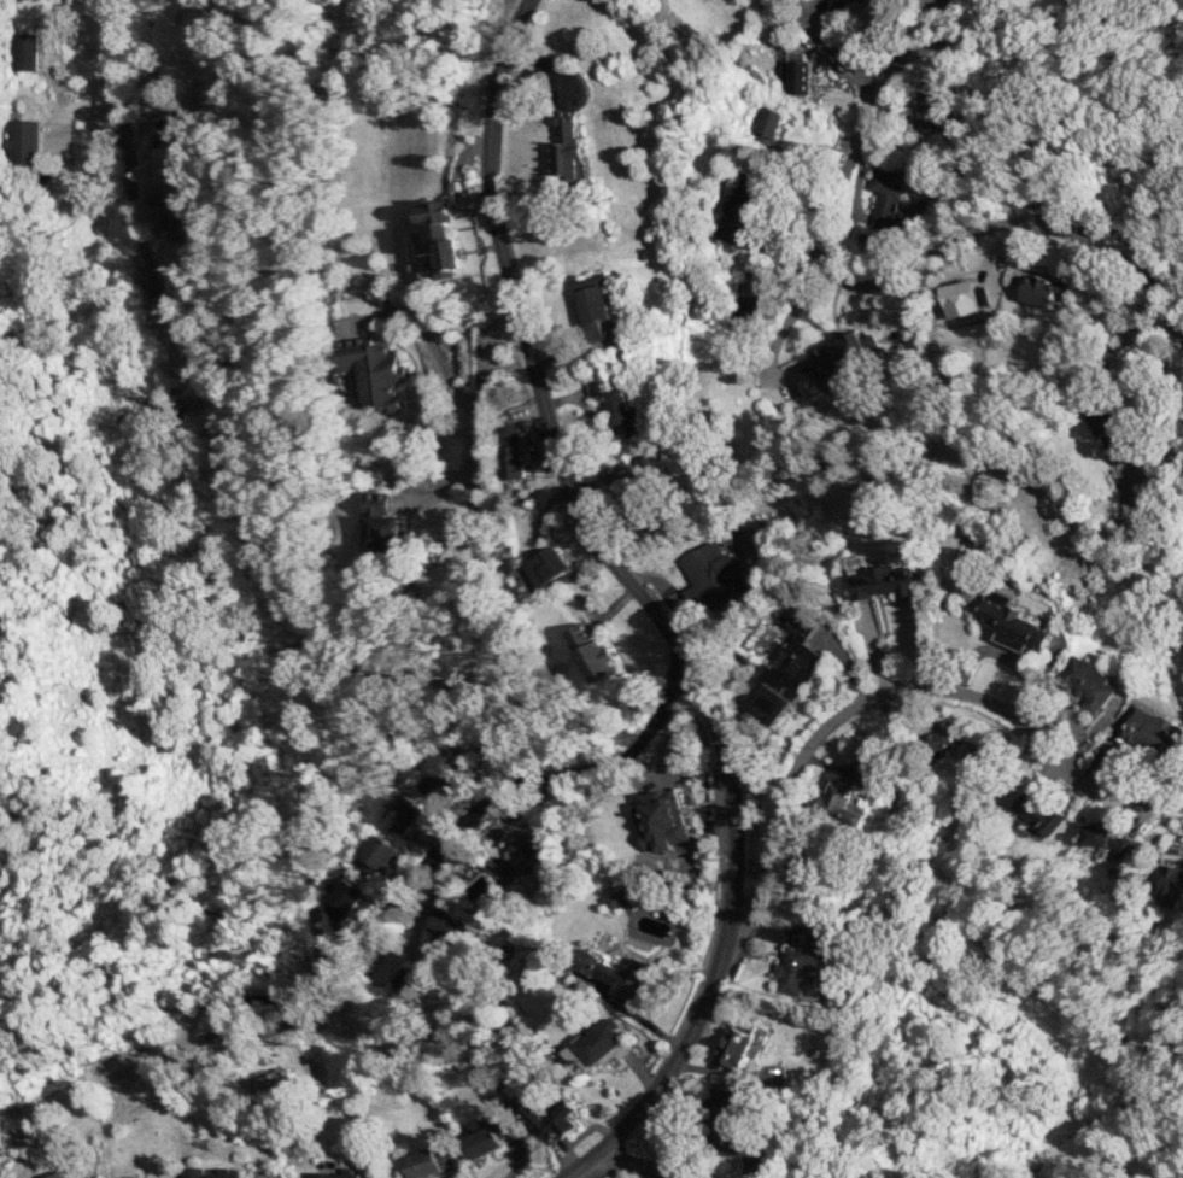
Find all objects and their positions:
building: (849, 0)
building: (795, 74)
building: (931, 106)
building: (769, 124)
building: (170, 133)
building: (24, 140)
building: (889, 198)
building: (737, 212)
building: (178, 215)
building: (438, 242)
road: (821, 257)
building: (1041, 289)
building: (965, 297)
building: (592, 303)
building: (743, 318)
road: (779, 332)
building: (843, 356)
building: (375, 371)
building: (613, 399)
road: (476, 420)
building: (1111, 429)
building: (514, 451)
road: (566, 473)
building: (643, 479)
road: (276, 506)
building: (962, 567)
building: (546, 568)
building: (713, 575)
building: (882, 581)
building: (1012, 622)
building: (593, 652)
building: (1087, 681)
road: (907, 684)
building: (1154, 732)
building: (942, 737)
building: (440, 769)
building: (861, 779)
road: (490, 798)
building: (844, 802)
building: (1042, 811)
building: (403, 813)
building: (660, 819)
building: (1109, 839)
building: (526, 846)
building: (377, 855)
building: (1172, 887)
building: (347, 896)
building: (444, 932)
building: (800, 960)
building: (403, 981)
building: (601, 1042)
building: (734, 1043)
road: (668, 1062)
building: (547, 1115)
building: (732, 1126)
building: (490, 1135)
road: (640, 1159)
building: (426, 1160)
building: (211, 1172)
building: (62, 1174)
building: (336, 1174)

